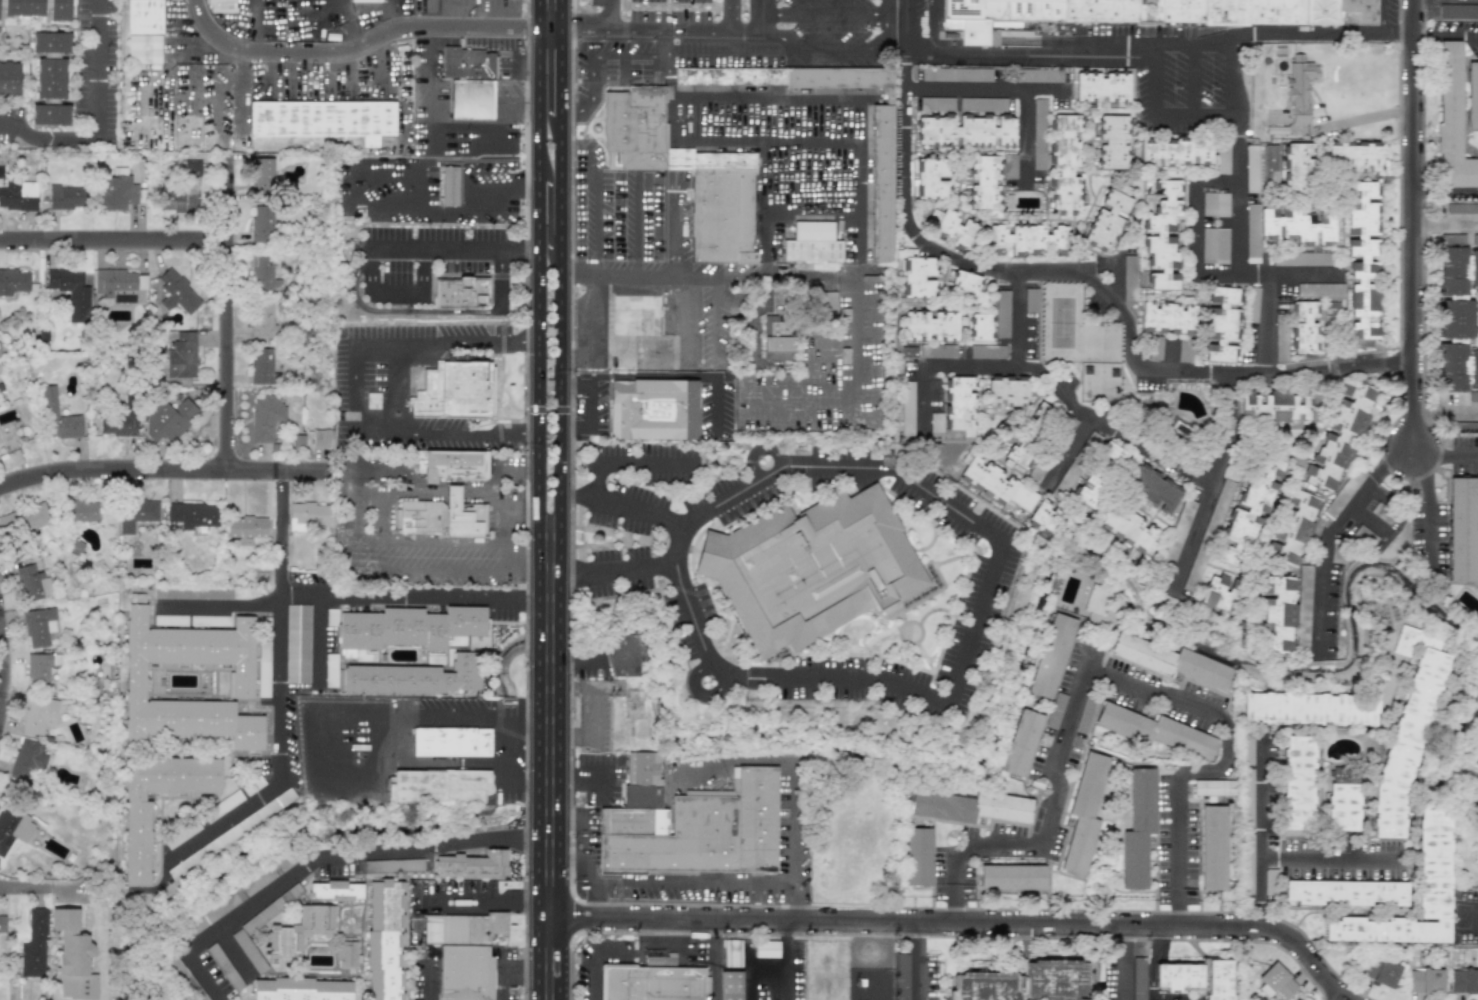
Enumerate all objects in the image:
building: (363, 1)
building: (222, 3)
building: (37, 7)
road: (282, 9)
road: (333, 10)
road: (888, 11)
building: (1458, 11)
road: (824, 12)
building: (1002, 12)
road: (607, 15)
road: (730, 15)
building: (143, 16)
road: (759, 16)
road: (905, 28)
road: (659, 30)
road: (888, 34)
road: (1444, 34)
road: (367, 46)
road: (820, 46)
building: (144, 49)
road: (1158, 49)
road: (602, 56)
road: (424, 63)
road: (669, 65)
road: (95, 67)
road: (517, 68)
building: (956, 74)
road: (1231, 75)
building: (1039, 76)
building: (50, 77)
building: (839, 77)
building: (9, 78)
building: (731, 78)
road: (1193, 78)
building: (469, 82)
road: (1154, 83)
building: (1299, 87)
building: (1101, 88)
road: (1009, 89)
building: (1471, 94)
road: (520, 103)
building: (936, 104)
building: (966, 105)
road: (572, 114)
road: (1193, 115)
building: (324, 119)
road: (781, 120)
building: (1450, 121)
road: (854, 125)
building: (964, 130)
building: (1039, 134)
road: (46, 136)
road: (743, 141)
building: (1112, 142)
road: (463, 143)
building: (1175, 152)
building: (1352, 156)
road: (816, 158)
road: (480, 165)
building: (1065, 165)
building: (1009, 166)
building: (1252, 166)
building: (1290, 166)
building: (190, 168)
road: (1400, 173)
building: (261, 176)
building: (929, 178)
building: (883, 182)
building: (983, 182)
building: (450, 185)
road: (1445, 190)
building: (117, 192)
building: (18, 195)
building: (65, 197)
building: (177, 201)
building: (1215, 204)
road: (1235, 207)
building: (1462, 208)
building: (721, 210)
road: (434, 211)
road: (587, 217)
building: (1107, 221)
road: (1458, 222)
building: (262, 223)
building: (1298, 223)
road: (1413, 223)
road: (1426, 223)
road: (633, 225)
building: (956, 230)
building: (1251, 233)
building: (1162, 238)
building: (1027, 239)
building: (1475, 239)
building: (1452, 240)
building: (812, 243)
building: (1214, 245)
road: (452, 246)
road: (119, 251)
building: (1300, 258)
building: (1362, 264)
building: (1473, 267)
building: (1452, 271)
road: (1198, 272)
building: (263, 274)
road: (670, 274)
building: (917, 275)
road: (827, 277)
building: (13, 281)
building: (965, 283)
building: (120, 285)
road: (1093, 287)
building: (1320, 289)
building: (71, 292)
building: (176, 292)
building: (460, 292)
road: (398, 294)
building: (1031, 300)
building: (828, 301)
building: (1252, 304)
building: (1330, 305)
road: (433, 312)
building: (1002, 313)
road: (233, 318)
building: (1167, 318)
building: (262, 319)
building: (1456, 319)
road: (1016, 320)
road: (684, 321)
road: (714, 322)
road: (1266, 323)
building: (1222, 324)
building: (930, 326)
building: (979, 327)
building: (1303, 328)
building: (639, 334)
building: (777, 337)
building: (1280, 337)
building: (1155, 347)
building: (1184, 350)
building: (909, 351)
building: (937, 351)
building: (988, 351)
building: (181, 355)
building: (261, 365)
building: (1457, 367)
road: (641, 379)
road: (349, 387)
building: (454, 390)
building: (1007, 391)
building: (1473, 396)
building: (1280, 401)
building: (960, 404)
building: (653, 410)
road: (1427, 410)
road: (1460, 410)
road: (1082, 412)
building: (265, 416)
building: (57, 417)
building: (168, 419)
building: (118, 423)
building: (936, 424)
building: (1178, 429)
road: (1230, 430)
building: (1029, 435)
building: (1339, 435)
building: (322, 438)
building: (297, 441)
building: (1113, 453)
road: (1443, 456)
road: (622, 462)
building: (451, 465)
road: (502, 466)
building: (1037, 472)
road: (159, 476)
building: (996, 483)
building: (1091, 486)
building: (1153, 488)
building: (1344, 491)
road: (576, 499)
road: (537, 500)
road: (559, 500)
building: (1220, 503)
road: (1428, 507)
building: (1250, 509)
building: (81, 510)
building: (136, 513)
building: (192, 514)
building: (306, 514)
road: (348, 514)
road: (635, 514)
building: (1382, 514)
building: (34, 516)
building: (441, 516)
building: (1044, 518)
building: (7, 522)
building: (246, 526)
building: (1292, 526)
building: (1461, 528)
building: (1129, 529)
building: (1178, 531)
road: (281, 532)
road: (505, 533)
building: (1365, 535)
road: (1331, 537)
building: (810, 566)
building: (1195, 568)
building: (31, 582)
building: (192, 591)
building: (1219, 592)
building: (1097, 600)
road: (220, 604)
building: (1303, 605)
building: (1278, 610)
building: (173, 620)
building: (200, 621)
building: (39, 626)
building: (412, 627)
building: (297, 643)
road: (570, 649)
building: (1050, 655)
building: (263, 657)
road: (281, 658)
road: (317, 660)
building: (1170, 660)
building: (40, 666)
building: (330, 670)
road: (3, 671)
building: (415, 677)
road: (952, 677)
building: (240, 681)
road: (548, 686)
building: (1309, 708)
building: (1055, 710)
road: (594, 711)
building: (38, 714)
building: (1407, 727)
building: (1154, 730)
road: (364, 734)
road: (548, 736)
road: (497, 737)
building: (451, 741)
building: (1020, 743)
building: (1248, 748)
road: (1225, 758)
building: (27, 760)
road: (317, 764)
road: (1058, 768)
road: (611, 770)
building: (1345, 774)
building: (253, 785)
building: (1297, 785)
building: (437, 786)
building: (1213, 786)
road: (791, 788)
road: (586, 794)
building: (227, 802)
building: (969, 806)
building: (1343, 807)
building: (1083, 814)
building: (137, 819)
building: (691, 823)
building: (13, 826)
building: (1137, 828)
road: (1259, 833)
building: (181, 834)
building: (1212, 847)
building: (205, 851)
road: (1178, 852)
building: (918, 856)
road: (1323, 857)
building: (1433, 859)
road: (318, 861)
building: (475, 863)
building: (393, 865)
building: (1011, 877)
road: (652, 880)
building: (336, 889)
road: (42, 890)
building: (1344, 892)
building: (239, 894)
road: (479, 897)
road: (549, 901)
building: (271, 907)
road: (1469, 916)
road: (957, 923)
building: (2, 924)
building: (459, 928)
building: (299, 931)
building: (385, 938)
road: (679, 939)
building: (34, 944)
road: (787, 944)
road: (1158, 944)
road: (596, 948)
building: (766, 949)
road: (236, 953)
building: (731, 953)
building: (347, 954)
road: (1159, 956)
building: (72, 957)
road: (713, 961)
road: (917, 961)
road: (1123, 962)
road: (784, 965)
road: (504, 969)
road: (548, 969)
building: (1379, 970)
building: (467, 972)
road: (746, 972)
road: (1151, 974)
road: (1160, 974)
building: (901, 976)
building: (1195, 977)
building: (1138, 978)
road: (427, 980)
building: (1424, 981)
building: (1463, 981)
building: (1025, 982)
building: (1275, 982)
building: (653, 984)
building: (730, 985)
building: (193, 987)
building: (301, 989)
road: (1157, 992)
road: (1153, 994)
road: (1336, 996)

